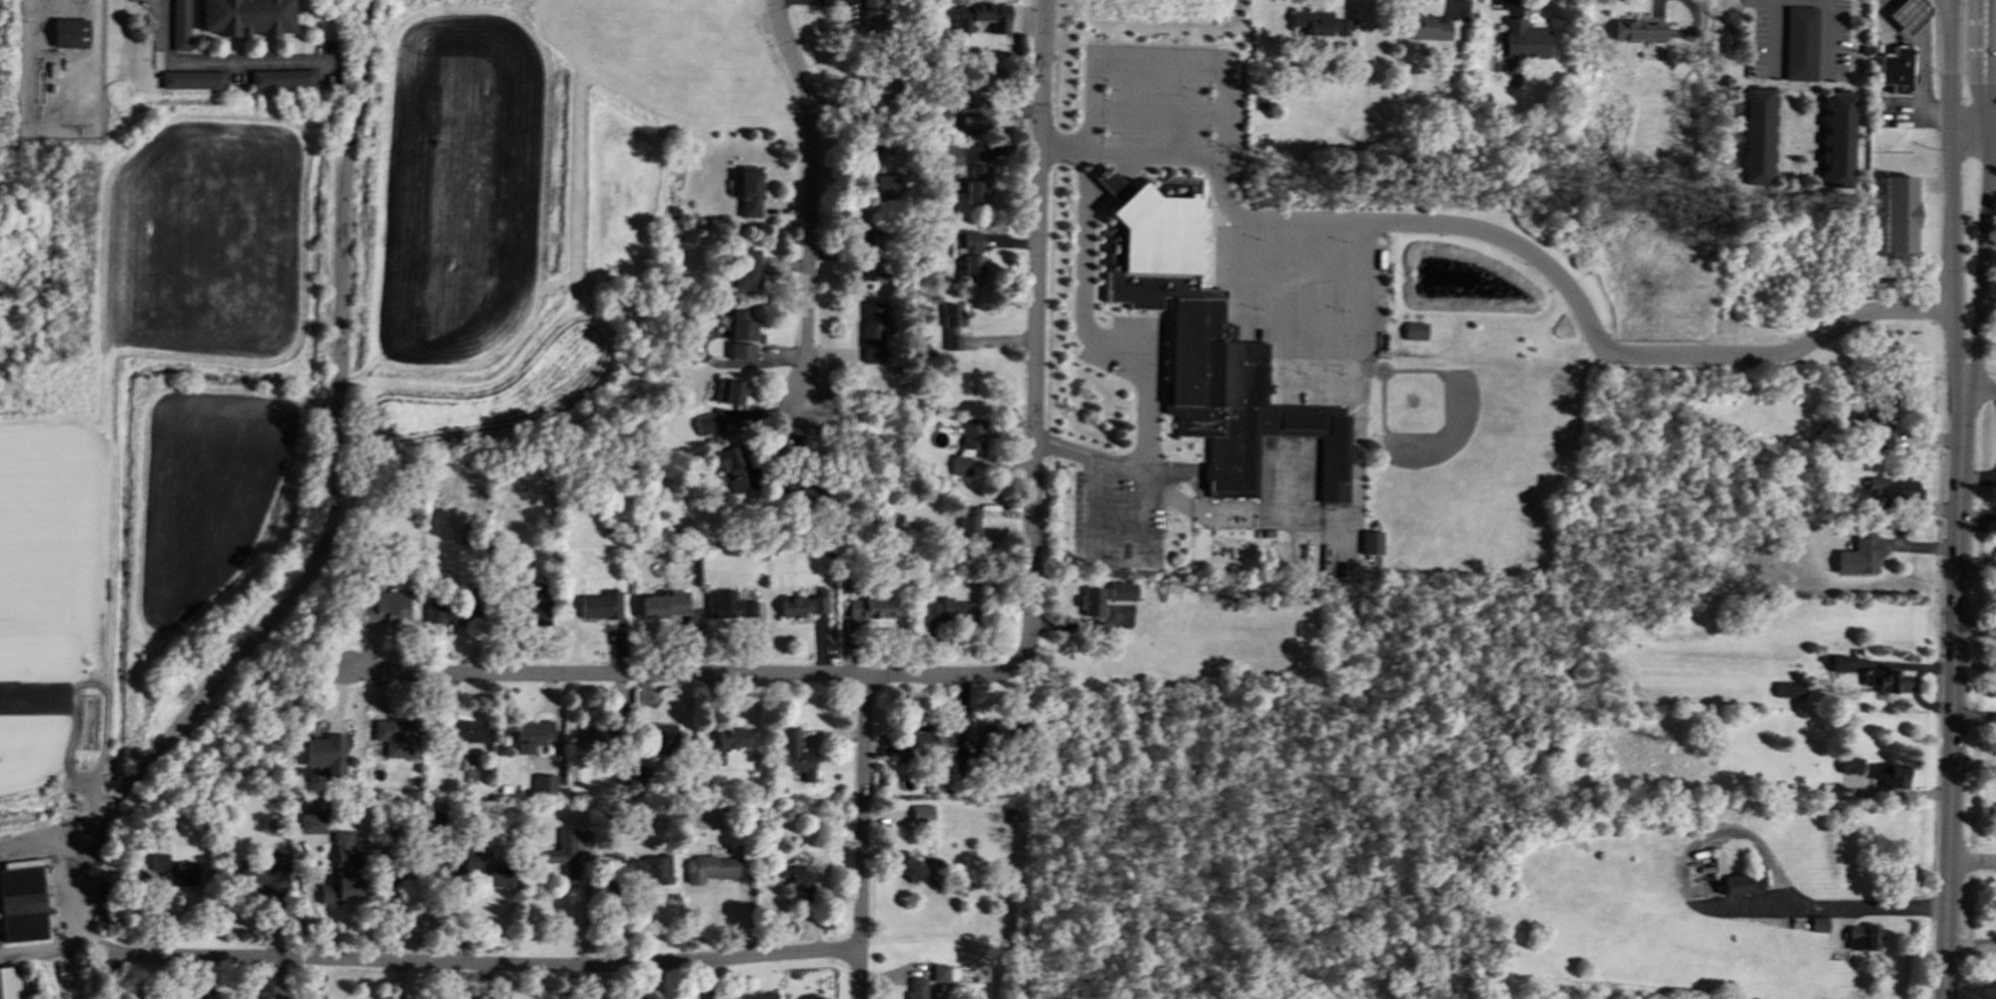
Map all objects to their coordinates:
road: (1822, 3)
road: (1993, 7)
road: (1994, 10)
building: (1907, 13)
building: (247, 17)
building: (982, 17)
building: (870, 18)
building: (1320, 23)
road: (1946, 23)
building: (180, 25)
building: (1427, 27)
building: (1637, 30)
building: (70, 33)
road: (1773, 33)
road: (1975, 38)
building: (1523, 40)
building: (1800, 43)
road: (1993, 44)
road: (1922, 60)
road: (1950, 60)
road: (210, 63)
building: (1896, 69)
road: (1991, 71)
building: (282, 78)
building: (192, 79)
road: (1987, 90)
road: (1987, 122)
building: (967, 125)
road: (1967, 129)
road: (1948, 133)
building: (1758, 137)
road: (1991, 137)
building: (1836, 140)
road: (1063, 144)
road: (1987, 151)
building: (869, 155)
building: (951, 155)
building: (977, 185)
building: (749, 194)
road: (1218, 194)
road: (812, 199)
building: (1898, 214)
building: (866, 236)
building: (973, 255)
building: (747, 268)
road: (1953, 268)
road: (1980, 279)
building: (741, 326)
building: (952, 326)
building: (1414, 331)
building: (872, 332)
road: (1036, 335)
crop: (335, 342)
building: (1207, 344)
building: (742, 351)
building: (730, 391)
road: (1979, 392)
building: (1882, 417)
building: (705, 424)
building: (973, 434)
building: (960, 464)
building: (730, 468)
building: (1876, 486)
building: (1905, 490)
building: (968, 527)
road: (326, 528)
building: (1370, 542)
building: (1860, 556)
building: (1122, 590)
building: (665, 604)
building: (803, 604)
building: (1089, 604)
building: (600, 605)
building: (728, 605)
building: (535, 606)
building: (871, 606)
building: (384, 607)
building: (451, 611)
building: (951, 611)
building: (1838, 663)
road: (682, 674)
building: (1885, 680)
building: (1788, 689)
road: (1954, 695)
building: (464, 731)
building: (659, 734)
building: (531, 735)
building: (996, 735)
building: (395, 737)
building: (596, 737)
building: (918, 744)
building: (723, 745)
building: (326, 753)
building: (796, 755)
building: (1850, 765)
building: (1889, 775)
building: (544, 784)
building: (1831, 791)
building: (923, 814)
building: (311, 823)
road: (1750, 836)
road: (862, 837)
building: (565, 853)
building: (472, 860)
road: (1973, 863)
building: (709, 868)
building: (173, 869)
building: (638, 869)
building: (916, 871)
building: (266, 872)
building: (343, 872)
building: (500, 875)
building: (795, 877)
building: (1733, 884)
building: (22, 901)
road: (587, 911)
building: (1818, 924)
building: (1861, 937)
road: (43, 950)
road: (482, 965)
building: (940, 973)
building: (9, 982)
building: (917, 988)
building: (762, 996)

